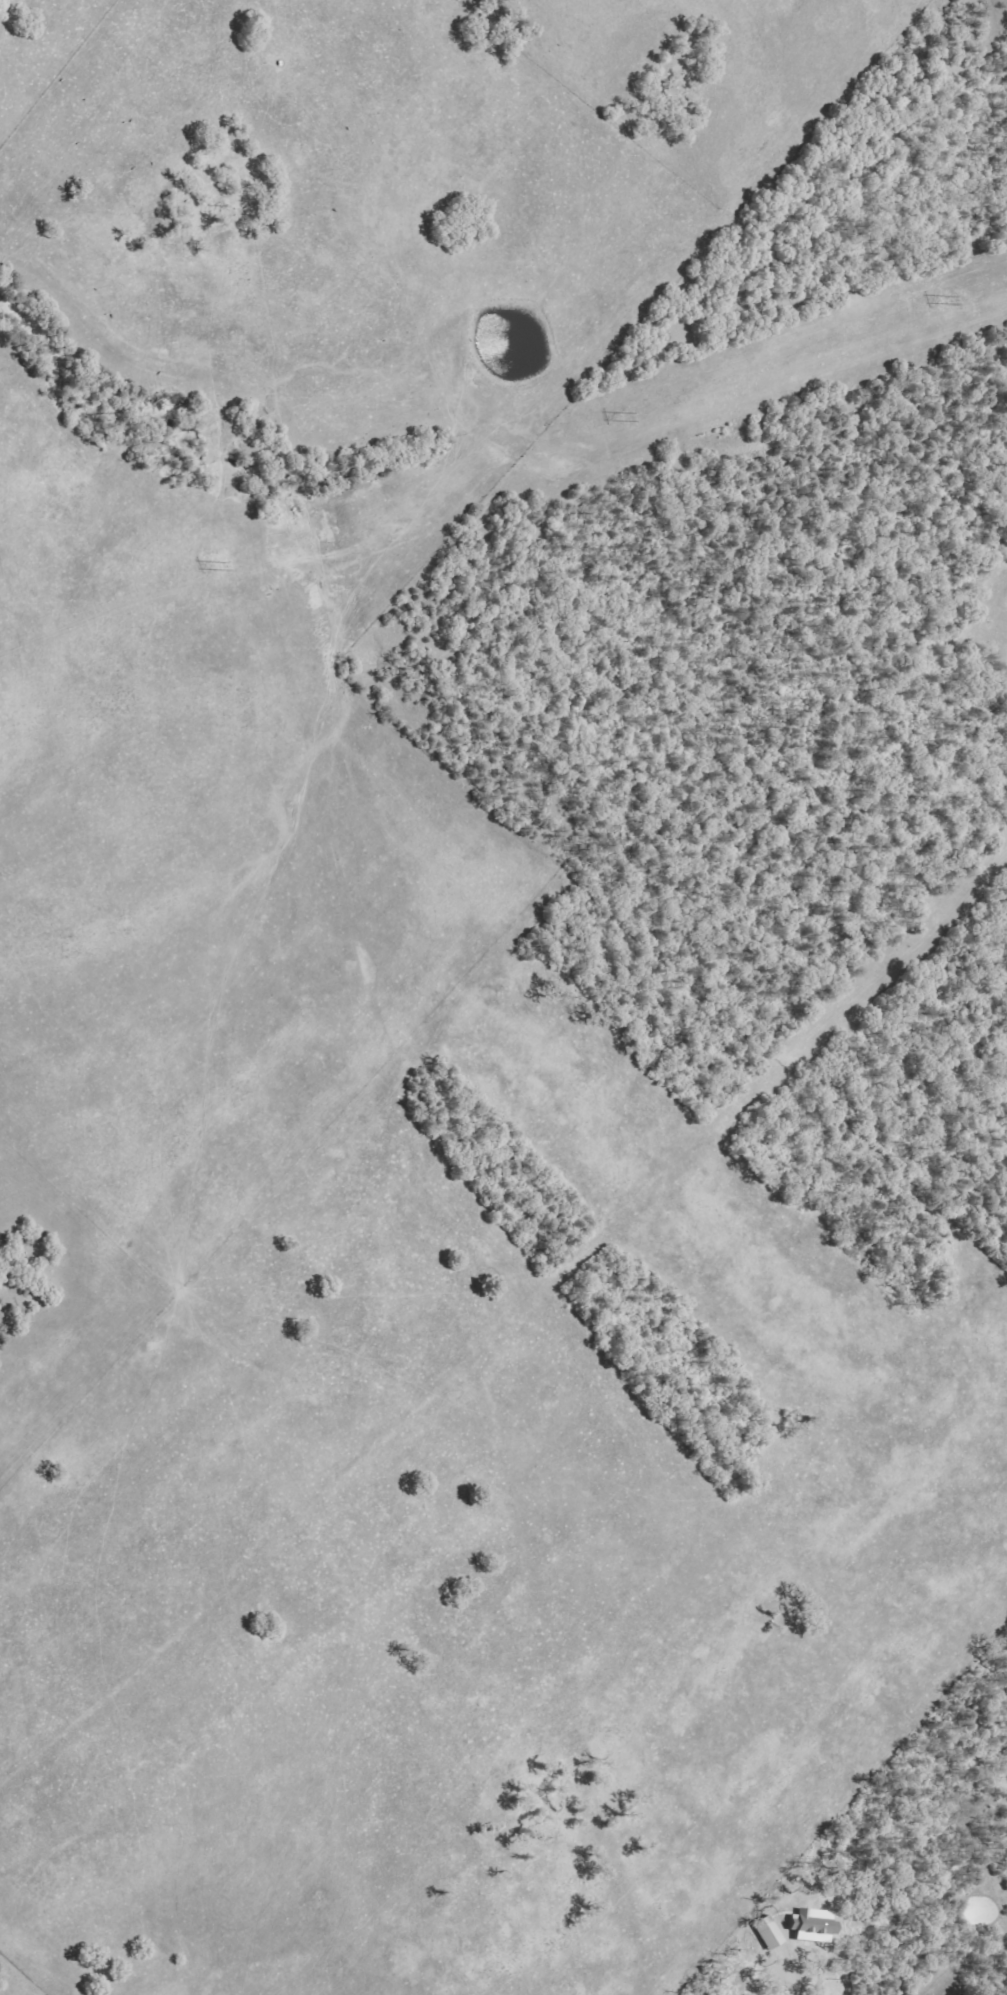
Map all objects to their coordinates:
power tower: (929, 304)
power tower: (606, 421)
power tower: (229, 569)
building: (812, 1926)
building: (767, 1933)
road: (790, 1974)

